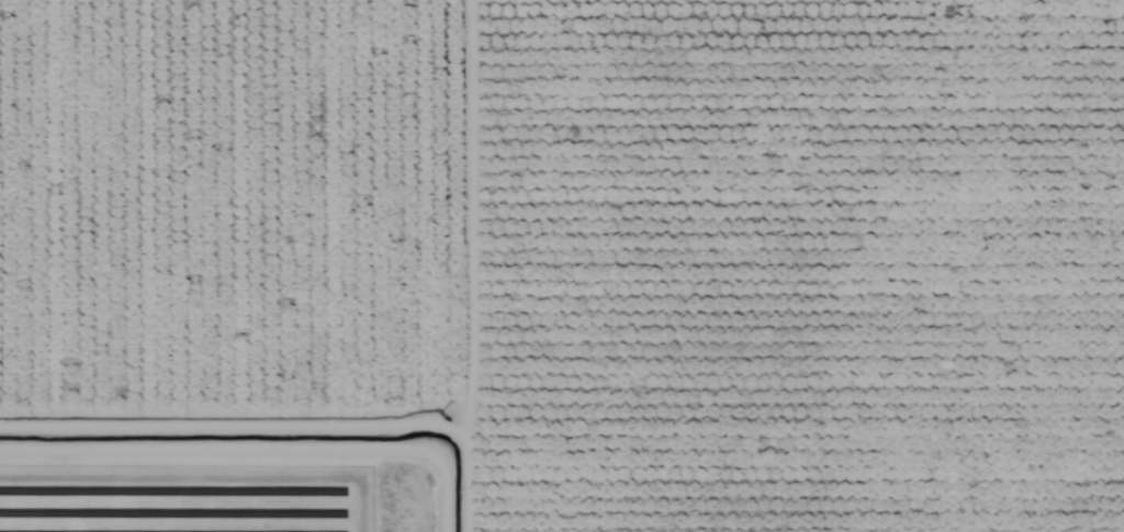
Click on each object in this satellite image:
crop: (562, 265)
road: (269, 444)

